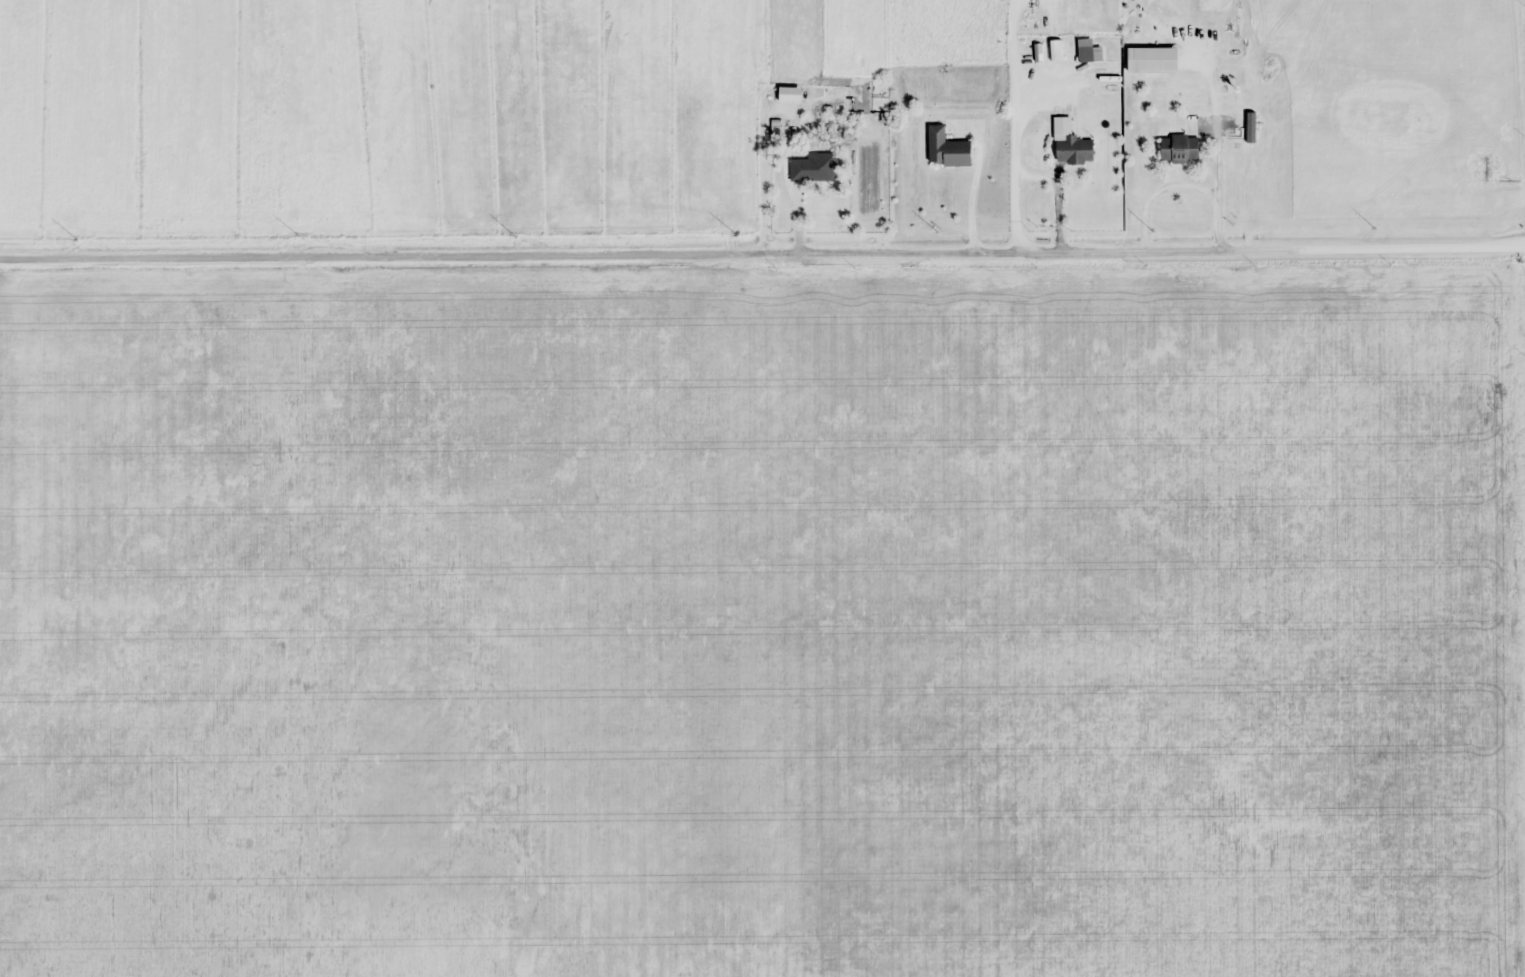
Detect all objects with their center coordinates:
building: (1056, 50)
building: (1224, 72)
building: (1180, 148)
building: (947, 149)
building: (1075, 150)
building: (812, 168)
road: (762, 242)
building: (1431, 307)
building: (1479, 313)

